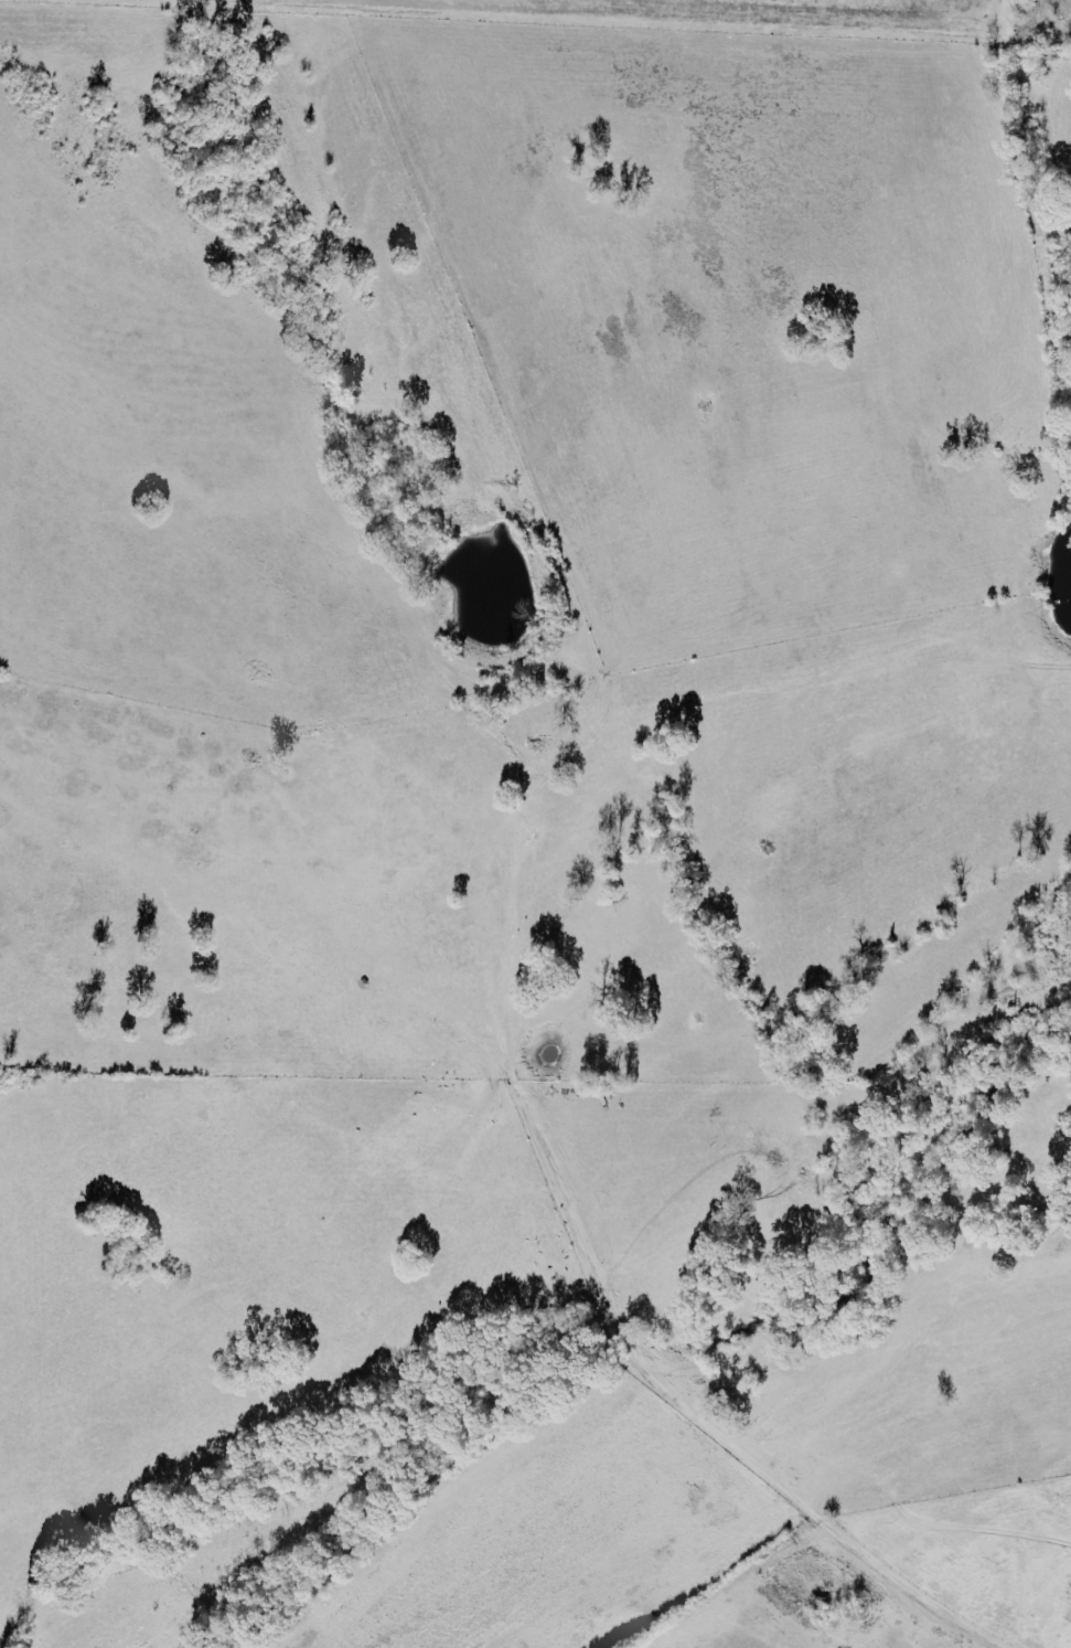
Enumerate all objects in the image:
road: (1024, 1613)

